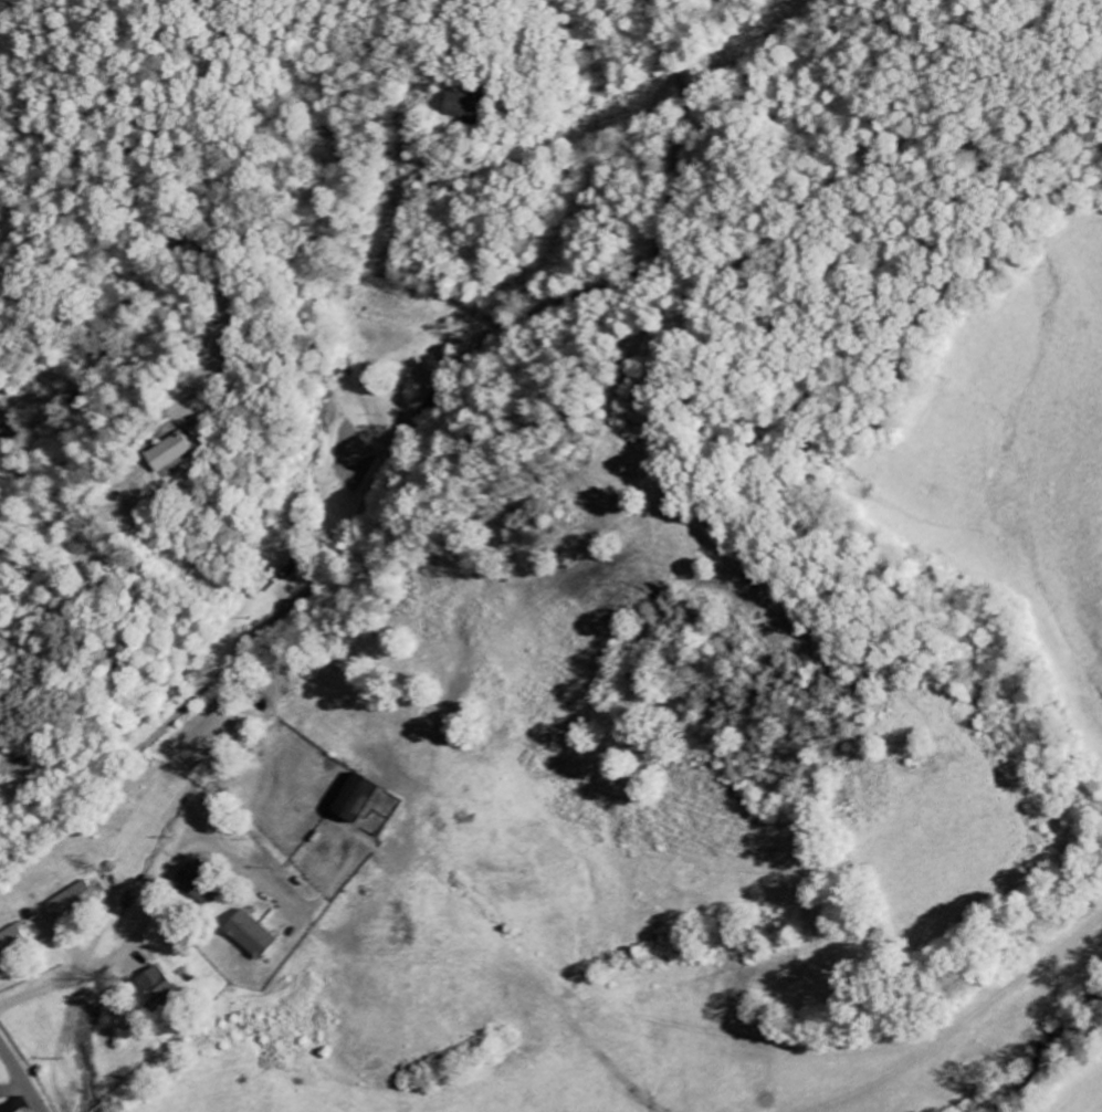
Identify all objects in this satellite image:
building: (468, 106)
road: (793, 244)
road: (186, 364)
road: (403, 444)
building: (170, 453)
road: (28, 709)
building: (354, 801)
building: (196, 888)
building: (72, 902)
road: (154, 904)
building: (250, 936)
building: (13, 941)
building: (154, 985)
road: (21, 1078)

